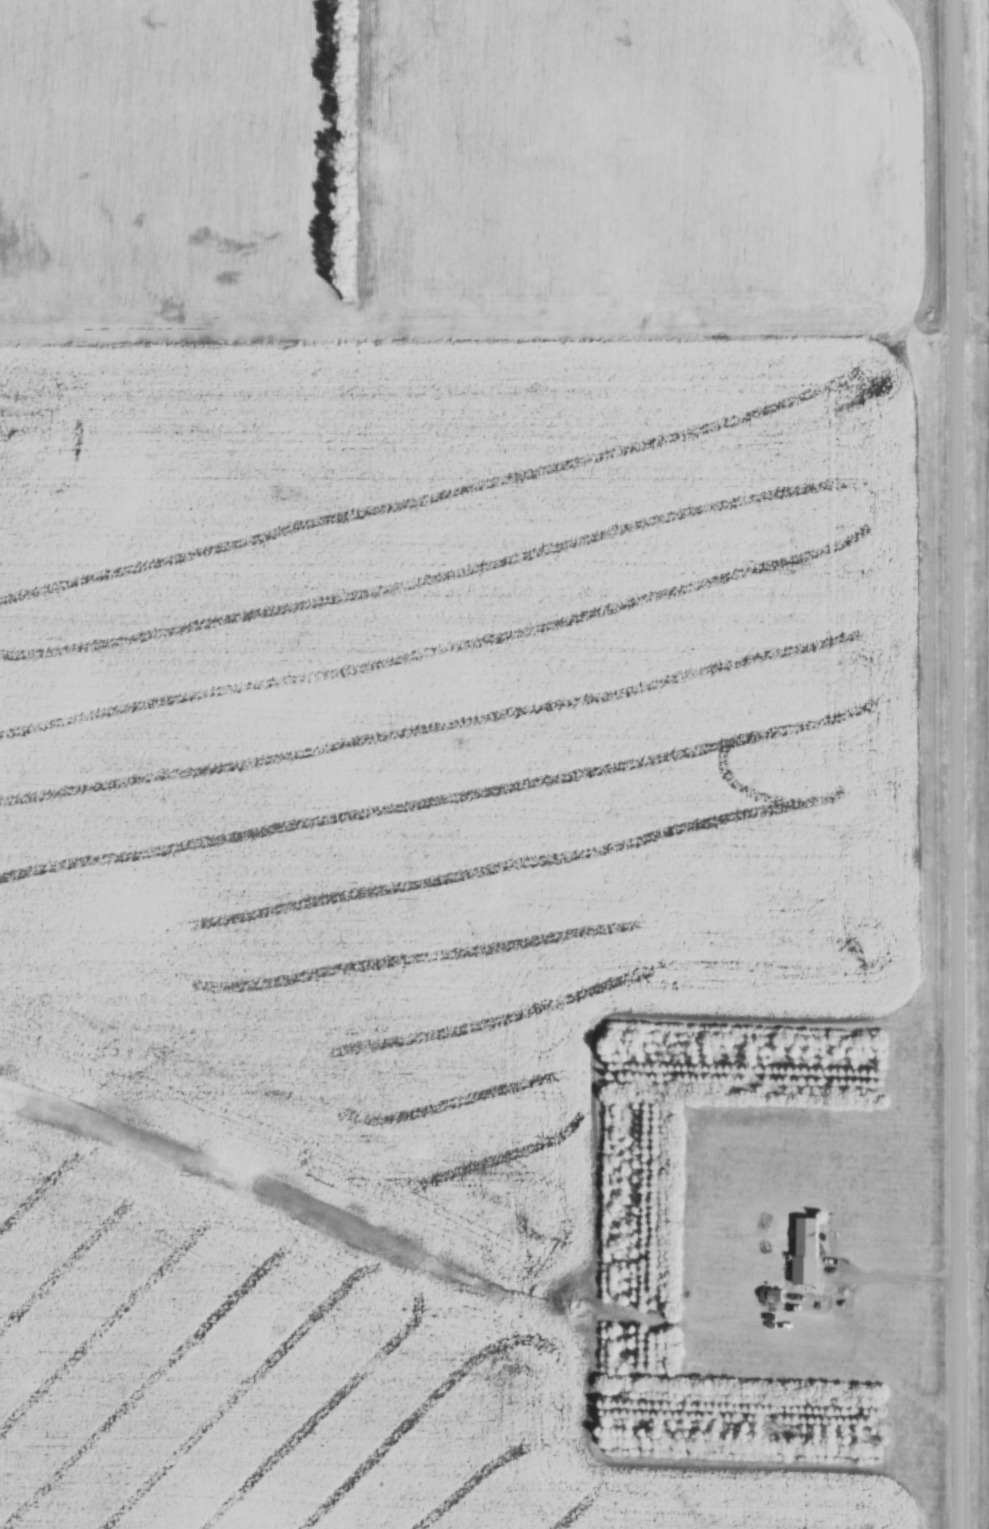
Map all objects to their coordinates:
road: (964, 764)
building: (803, 1249)

